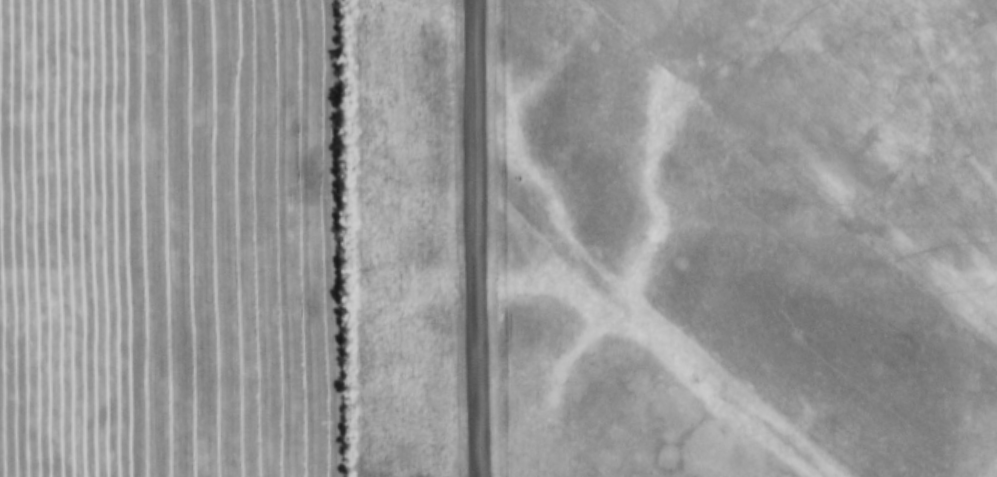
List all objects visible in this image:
road: (472, 238)

